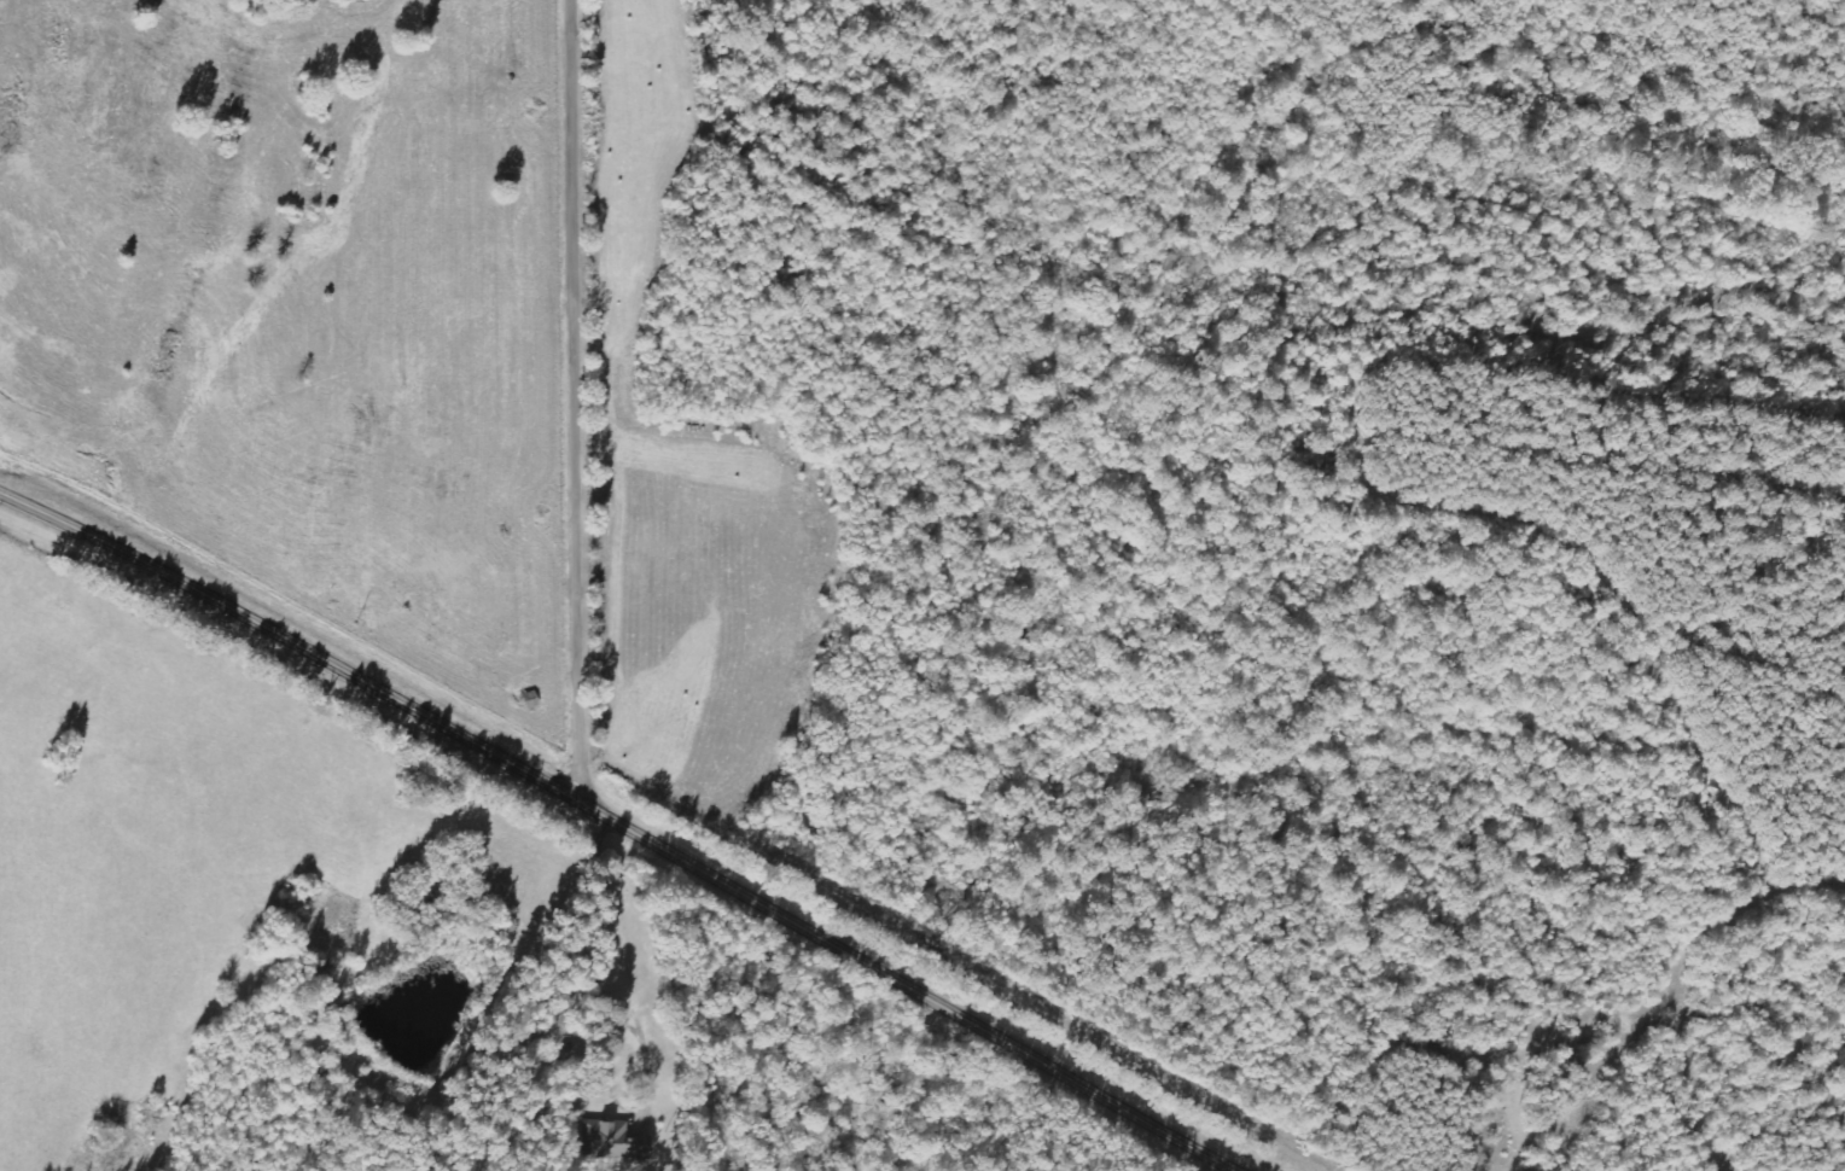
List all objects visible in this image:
road: (239, 293)
road: (583, 403)
road: (627, 826)
building: (615, 1140)

